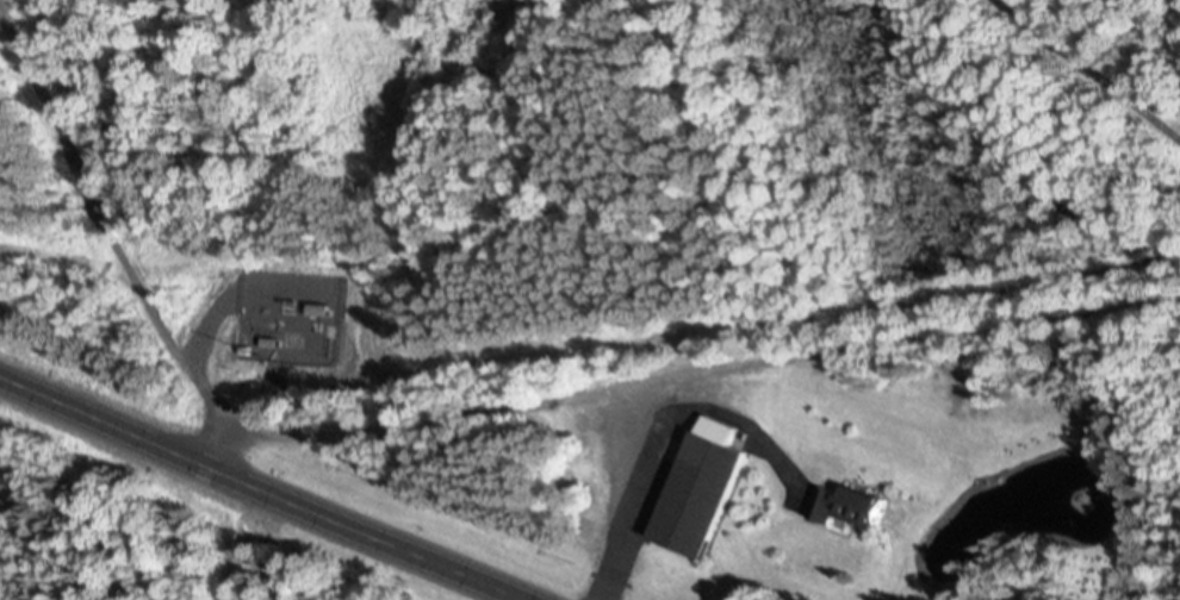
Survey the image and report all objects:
railway: (1088, 69)
road: (116, 252)
road: (1004, 321)
building: (288, 339)
road: (529, 401)
road: (261, 487)
building: (694, 494)
building: (840, 505)
road: (629, 512)

